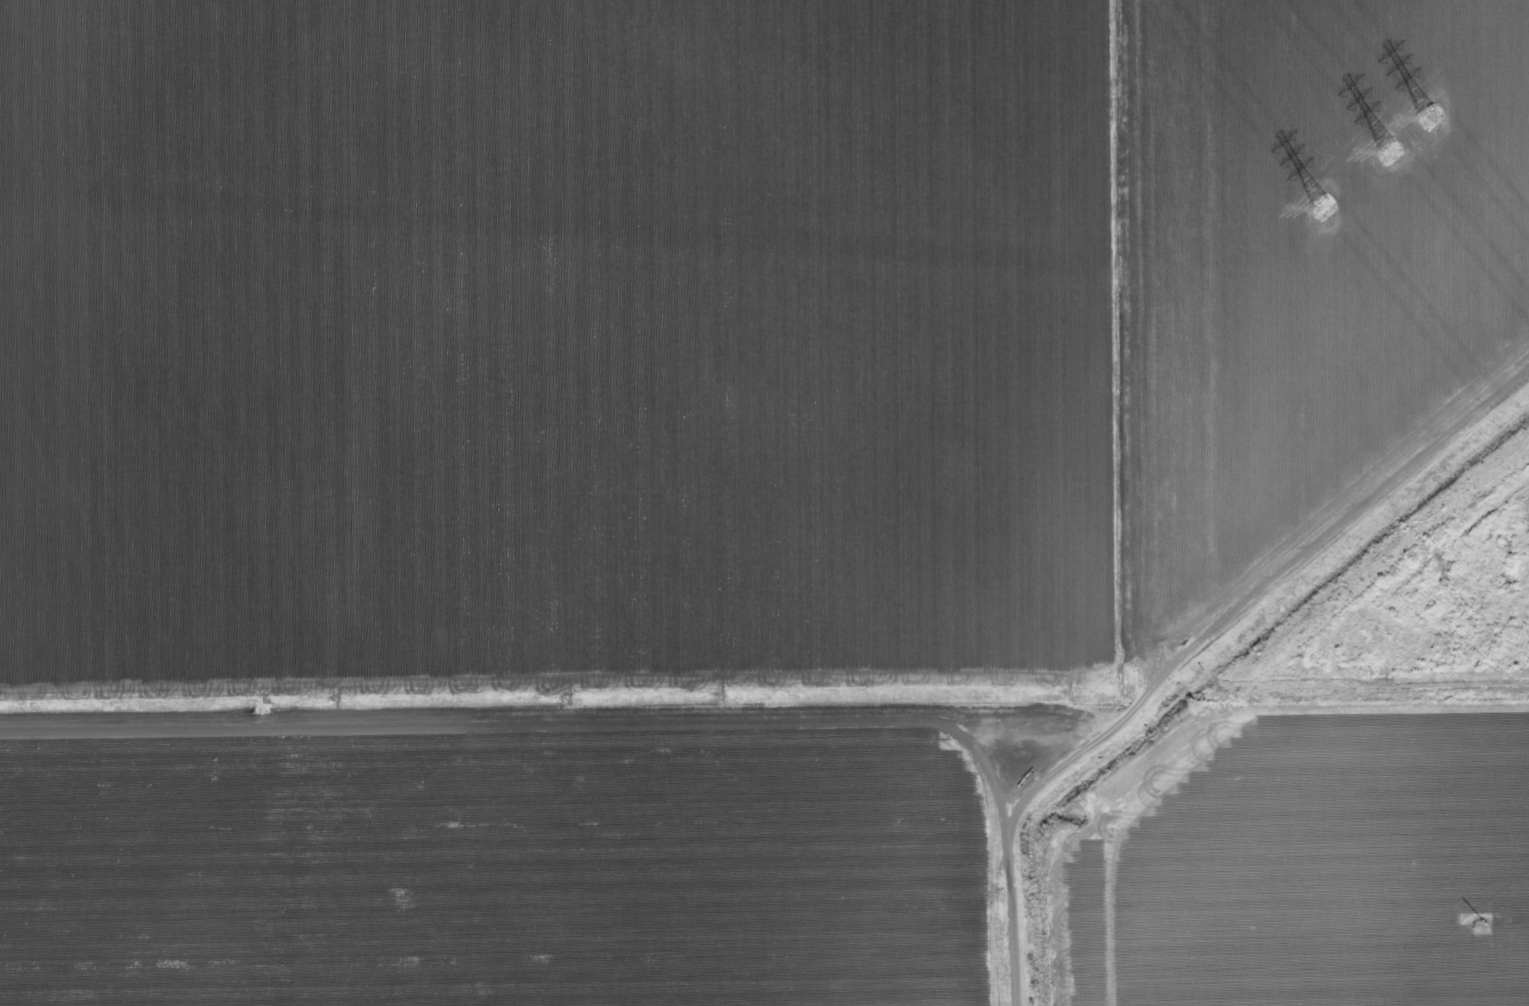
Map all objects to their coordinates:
power tower: (1429, 119)
power tower: (1390, 153)
power tower: (1324, 210)
power tower: (1483, 923)

